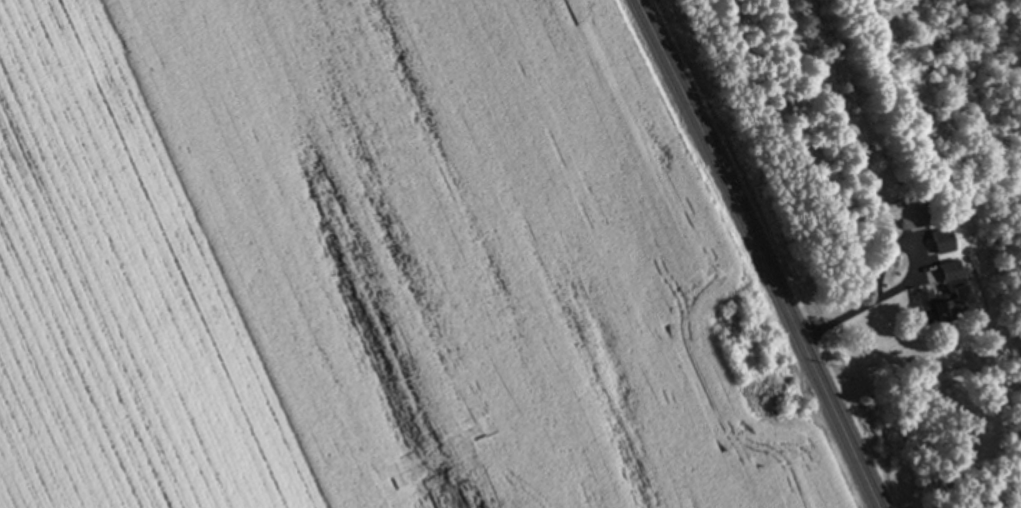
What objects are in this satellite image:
building: (910, 214)
building: (937, 244)
road: (761, 252)
building: (944, 296)
road: (852, 321)

